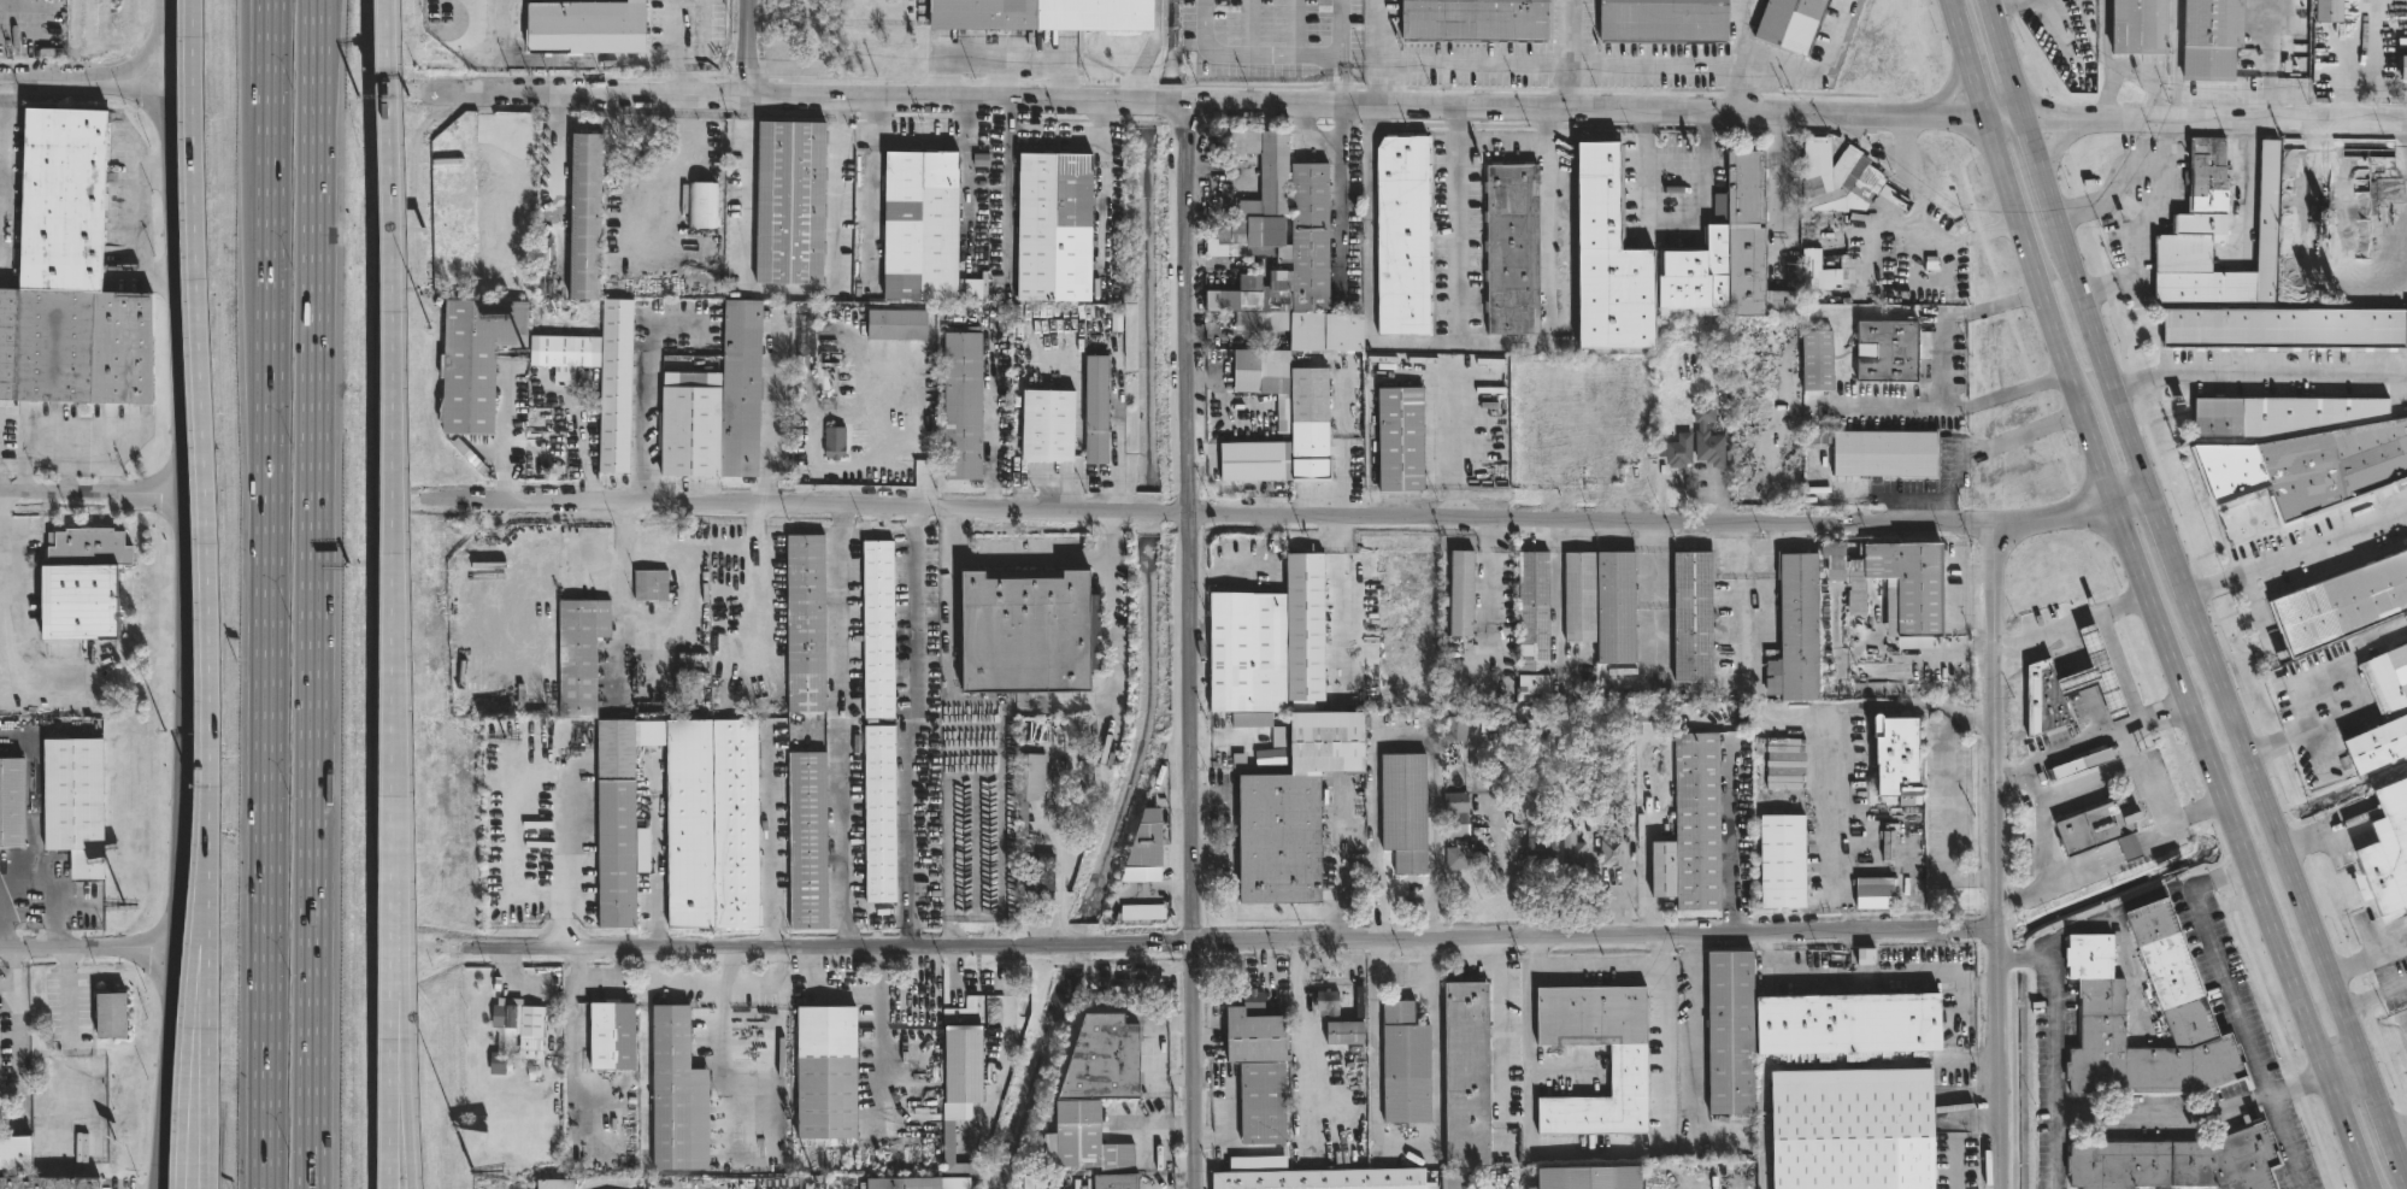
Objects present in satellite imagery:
road: (1950, 5)
road: (2014, 5)
road: (27, 8)
building: (2329, 10)
building: (1042, 14)
building: (1472, 18)
building: (1662, 20)
road: (705, 22)
building: (1790, 23)
building: (2138, 27)
building: (589, 28)
road: (265, 36)
road: (675, 37)
road: (2105, 37)
building: (2211, 37)
road: (746, 47)
road: (1917, 47)
road: (2028, 47)
road: (1002, 51)
road: (1567, 53)
road: (1741, 54)
road: (1272, 55)
road: (164, 59)
road: (564, 59)
road: (1967, 61)
road: (1606, 64)
building: (2402, 66)
road: (1008, 76)
road: (2156, 76)
road: (1329, 81)
road: (82, 83)
road: (1953, 83)
road: (1378, 84)
road: (2108, 95)
road: (1203, 102)
road: (1930, 114)
road: (2194, 118)
road: (965, 120)
road: (2047, 129)
road: (965, 142)
road: (2055, 147)
building: (642, 154)
road: (4, 170)
road: (677, 175)
road: (555, 181)
building: (1838, 181)
road: (1338, 188)
road: (871, 190)
road: (1007, 192)
road: (1100, 194)
building: (702, 202)
building: (793, 204)
building: (583, 216)
road: (1671, 222)
road: (1919, 223)
road: (1460, 224)
road: (2136, 225)
building: (922, 226)
building: (1053, 228)
road: (1370, 228)
building: (2213, 232)
building: (1401, 236)
building: (1512, 247)
building: (1283, 252)
building: (1664, 258)
road: (2029, 258)
building: (1811, 272)
building: (76, 279)
building: (1791, 279)
road: (790, 293)
road: (2002, 299)
road: (1550, 302)
road: (1947, 316)
building: (895, 325)
building: (2281, 326)
building: (804, 343)
building: (1885, 351)
building: (565, 352)
building: (1813, 359)
building: (475, 360)
building: (1260, 371)
road: (2258, 371)
building: (616, 385)
building: (741, 388)
road: (646, 393)
road: (1076, 394)
road: (2007, 396)
road: (396, 398)
building: (963, 406)
road: (1901, 406)
building: (1095, 410)
road: (771, 412)
building: (1282, 413)
building: (2273, 414)
building: (690, 423)
building: (1308, 423)
building: (1044, 426)
building: (1703, 435)
road: (67, 440)
building: (1400, 440)
building: (832, 442)
road: (1990, 448)
road: (993, 449)
building: (1681, 451)
road: (2095, 451)
building: (1879, 453)
building: (1254, 461)
building: (2306, 465)
road: (206, 466)
road: (67, 470)
road: (1049, 473)
road: (2129, 490)
road: (90, 499)
road: (783, 504)
road: (2079, 511)
road: (1148, 512)
road: (1638, 519)
road: (753, 524)
road: (182, 536)
road: (754, 551)
road: (2296, 554)
road: (513, 559)
road: (1029, 560)
building: (1023, 575)
building: (1896, 583)
building: (89, 585)
building: (652, 585)
building: (1460, 590)
road: (624, 593)
road: (269, 594)
road: (318, 594)
building: (1584, 596)
road: (2187, 596)
road: (1559, 598)
building: (2340, 602)
road: (2123, 605)
building: (1622, 607)
road: (2, 620)
building: (805, 623)
building: (1534, 623)
building: (1691, 623)
building: (1303, 625)
building: (875, 630)
building: (1794, 630)
building: (1025, 634)
road: (2041, 634)
road: (2224, 642)
road: (1190, 646)
building: (1246, 651)
building: (579, 654)
road: (1911, 654)
road: (2117, 670)
building: (2094, 675)
road: (2296, 684)
building: (2049, 701)
road: (1023, 711)
building: (2379, 712)
building: (1653, 713)
road: (1970, 716)
road: (840, 728)
road: (912, 729)
building: (1455, 729)
road: (2102, 736)
road: (1405, 740)
road: (2126, 747)
building: (1896, 757)
building: (1272, 758)
building: (2082, 765)
building: (1784, 767)
road: (1844, 767)
building: (1031, 775)
road: (2008, 777)
road: (2081, 783)
road: (2032, 787)
road: (1172, 795)
building: (12, 802)
building: (76, 804)
building: (1290, 808)
building: (1403, 811)
road: (2194, 812)
building: (1458, 814)
building: (878, 816)
building: (1696, 822)
road: (520, 823)
road: (1946, 823)
building: (616, 824)
building: (711, 824)
building: (1051, 825)
building: (2096, 830)
building: (1144, 838)
road: (2155, 838)
building: (807, 840)
road: (771, 844)
road: (2240, 844)
building: (1541, 848)
building: (2389, 848)
road: (654, 849)
building: (1572, 849)
building: (1609, 850)
road: (2225, 854)
building: (1460, 855)
road: (1995, 855)
road: (2129, 855)
building: (1781, 861)
building: (1662, 869)
building: (1037, 873)
road: (2081, 873)
road: (2223, 877)
road: (1160, 889)
building: (1872, 893)
road: (51, 895)
road: (2020, 895)
road: (393, 896)
road: (2113, 911)
road: (0, 941)
road: (1219, 943)
road: (1535, 950)
road: (88, 955)
road: (2021, 959)
road: (1299, 963)
road: (724, 969)
road: (1403, 969)
road: (954, 972)
road: (1865, 975)
road: (200, 981)
road: (717, 985)
road: (602, 988)
road: (7, 989)
road: (2373, 995)
road: (66, 997)
building: (1330, 1003)
building: (2178, 1010)
building: (113, 1016)
road: (16, 1024)
road: (1007, 1025)
building: (1801, 1028)
road: (571, 1031)
building: (517, 1032)
building: (1260, 1034)
building: (1349, 1034)
road: (1499, 1034)
building: (614, 1036)
road: (879, 1036)
road: (2246, 1037)
road: (1691, 1041)
road: (401, 1049)
road: (782, 1050)
road: (1153, 1052)
road: (1305, 1059)
road: (208, 1061)
road: (725, 1065)
building: (1410, 1065)
building: (966, 1066)
building: (1626, 1071)
road: (2055, 1071)
road: (2343, 1071)
road: (167, 1072)
building: (823, 1072)
building: (1466, 1072)
road: (392, 1093)
building: (673, 1095)
building: (1094, 1096)
building: (1267, 1103)
road: (184, 1107)
road: (1228, 1109)
road: (1972, 1111)
road: (2193, 1117)
road: (1159, 1129)
building: (1844, 1129)
road: (2397, 1131)
road: (1500, 1140)
building: (947, 1141)
road: (1410, 1143)
road: (411, 1146)
road: (1541, 1148)
building: (16, 1155)
building: (2172, 1162)
road: (1947, 1173)
building: (1461, 1178)
building: (1596, 1178)
building: (1329, 1179)
building: (1119, 1182)
building: (48, 1183)
building: (755, 1183)
building: (917, 1183)
building: (1034, 1183)
building: (551, 1184)

